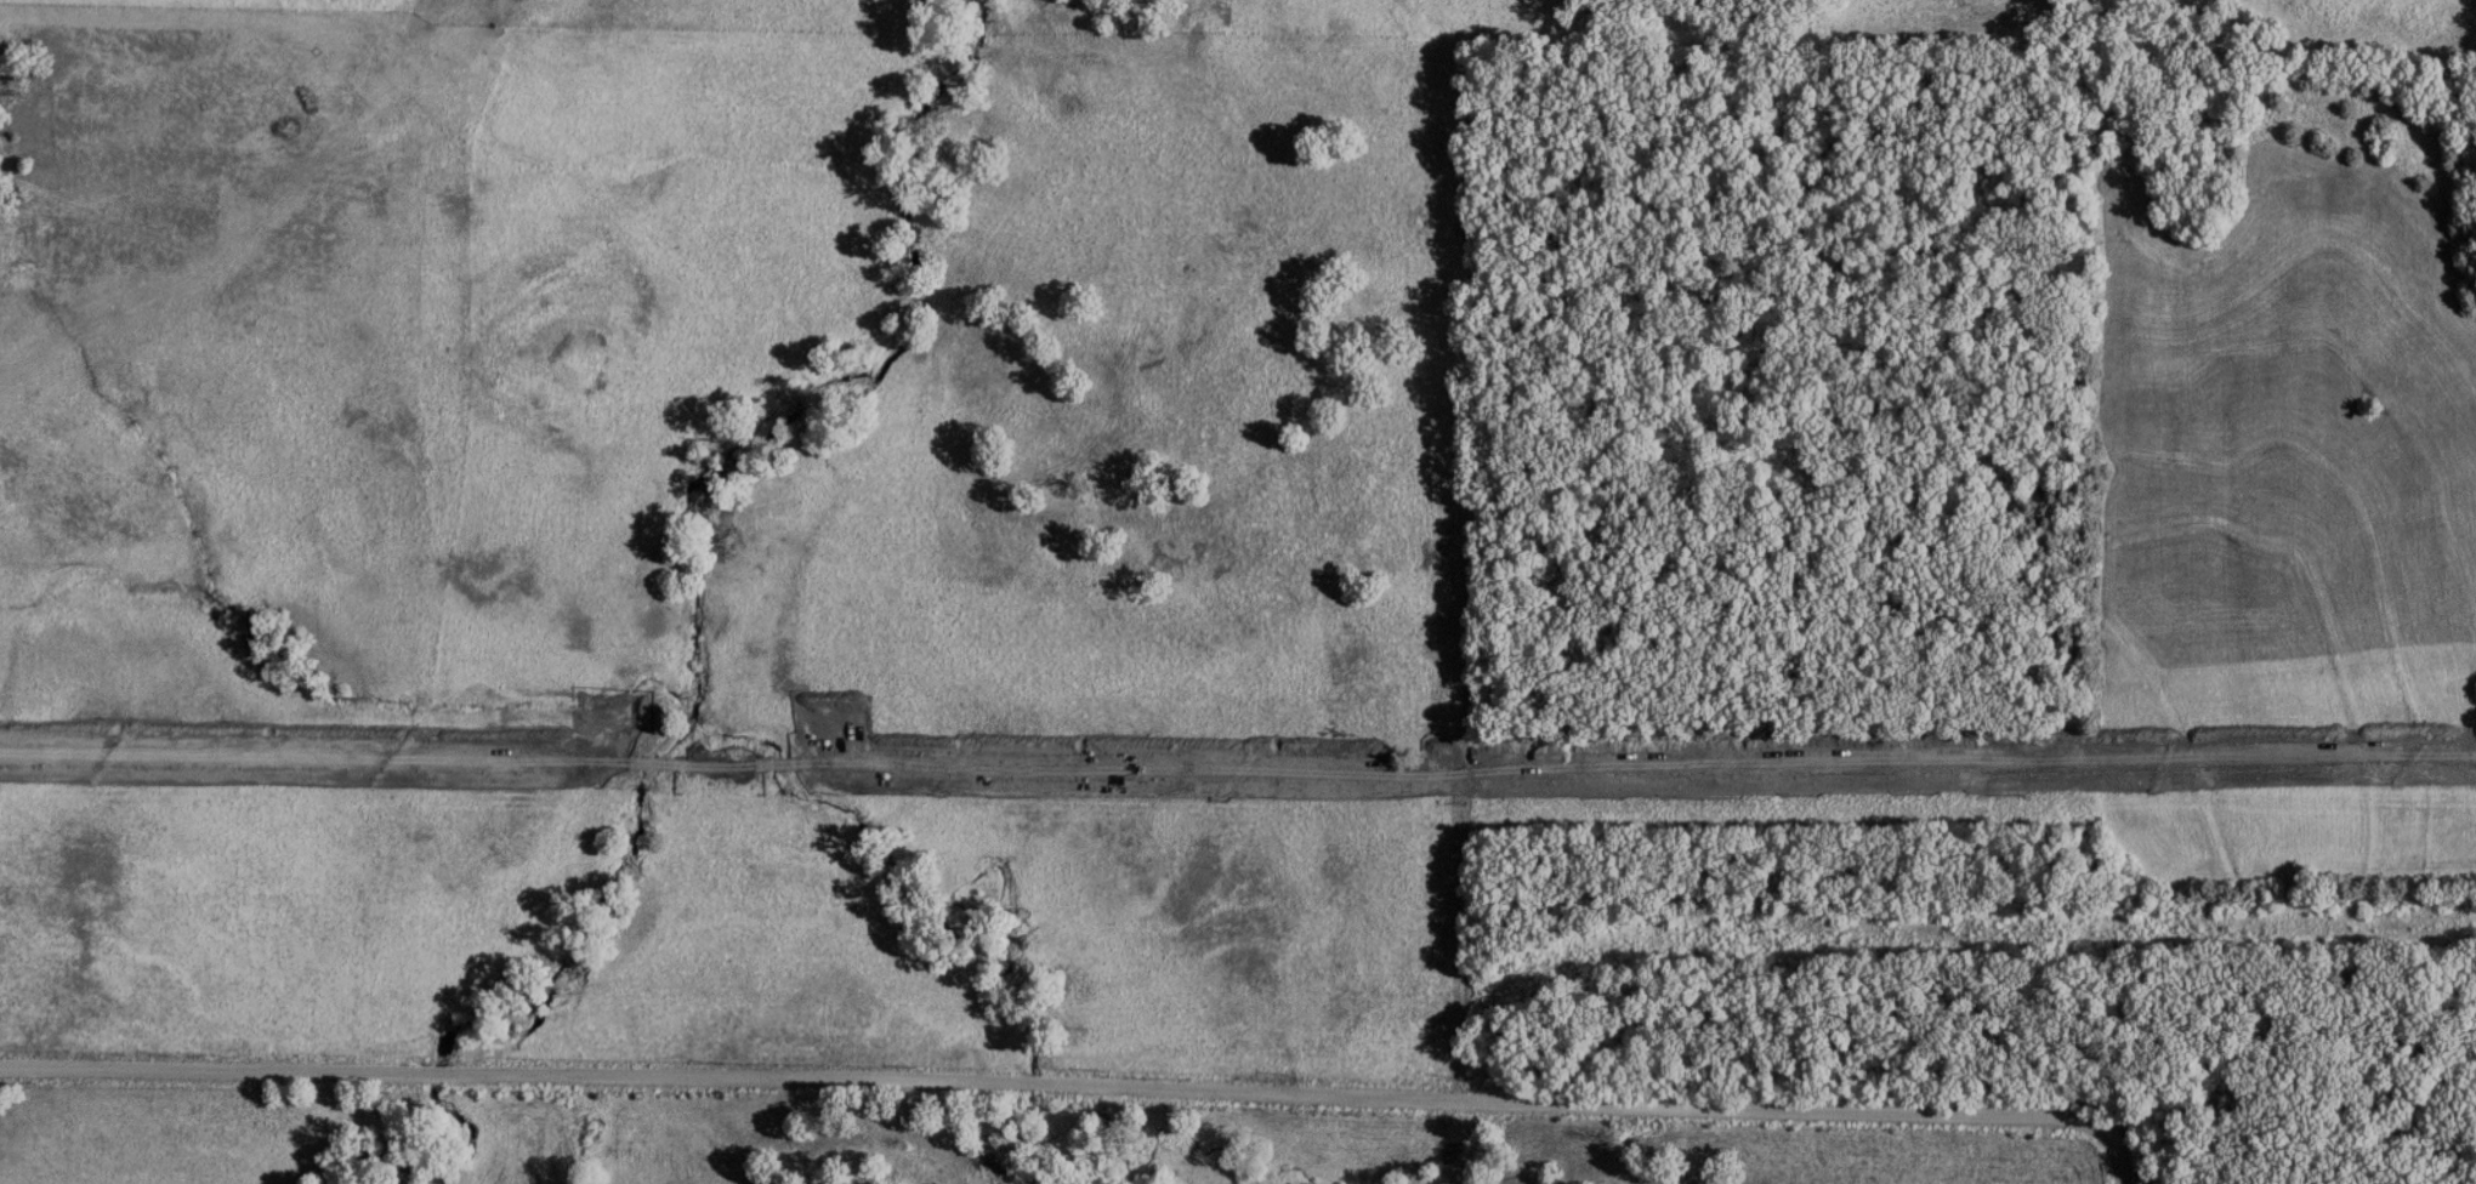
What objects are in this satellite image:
road: (1079, 1091)

